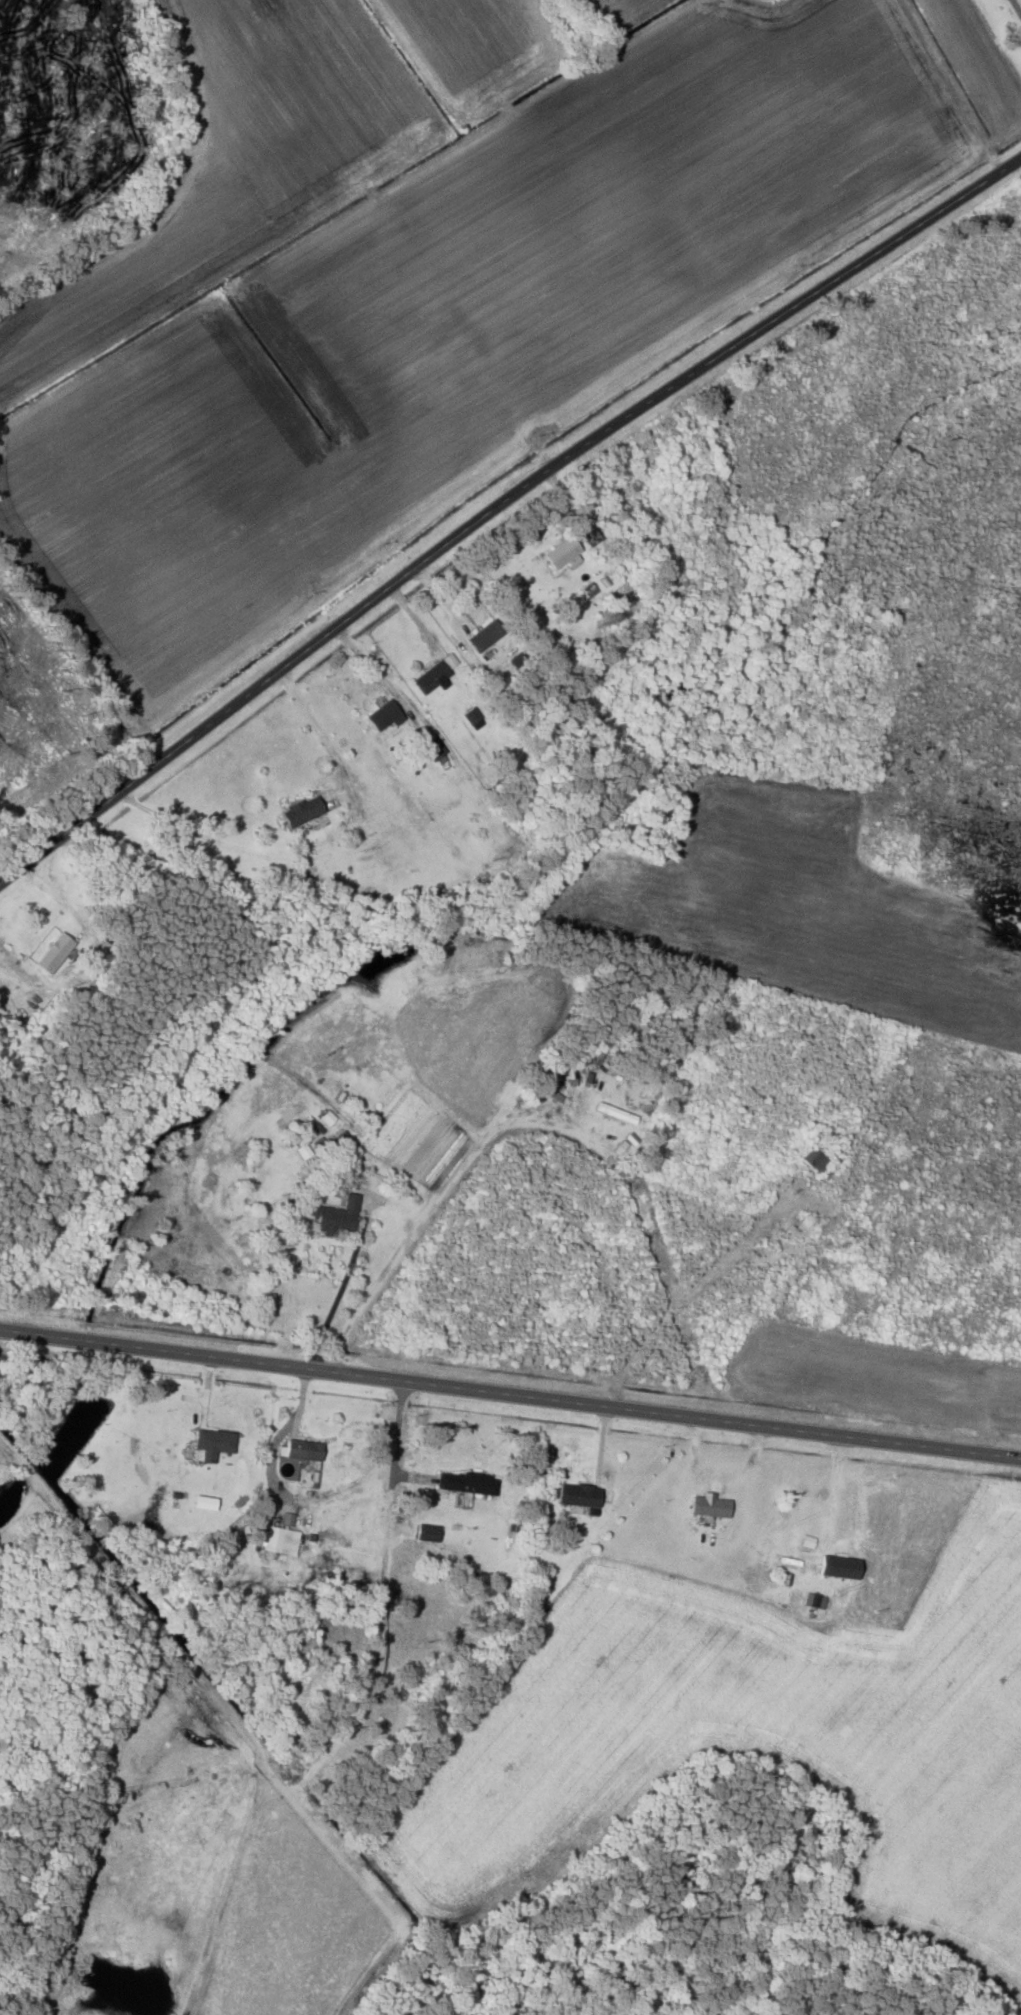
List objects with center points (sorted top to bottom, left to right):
road: (499, 503)
building: (565, 553)
building: (487, 635)
building: (433, 677)
building: (386, 715)
building: (472, 715)
building: (435, 748)
building: (304, 810)
building: (244, 861)
building: (56, 953)
building: (619, 1113)
building: (816, 1160)
building: (341, 1217)
road: (358, 1374)
road: (869, 1433)
building: (214, 1444)
building: (305, 1450)
building: (472, 1483)
building: (581, 1495)
building: (711, 1507)
building: (430, 1533)
building: (278, 1541)
building: (795, 1565)
road: (148, 1616)

